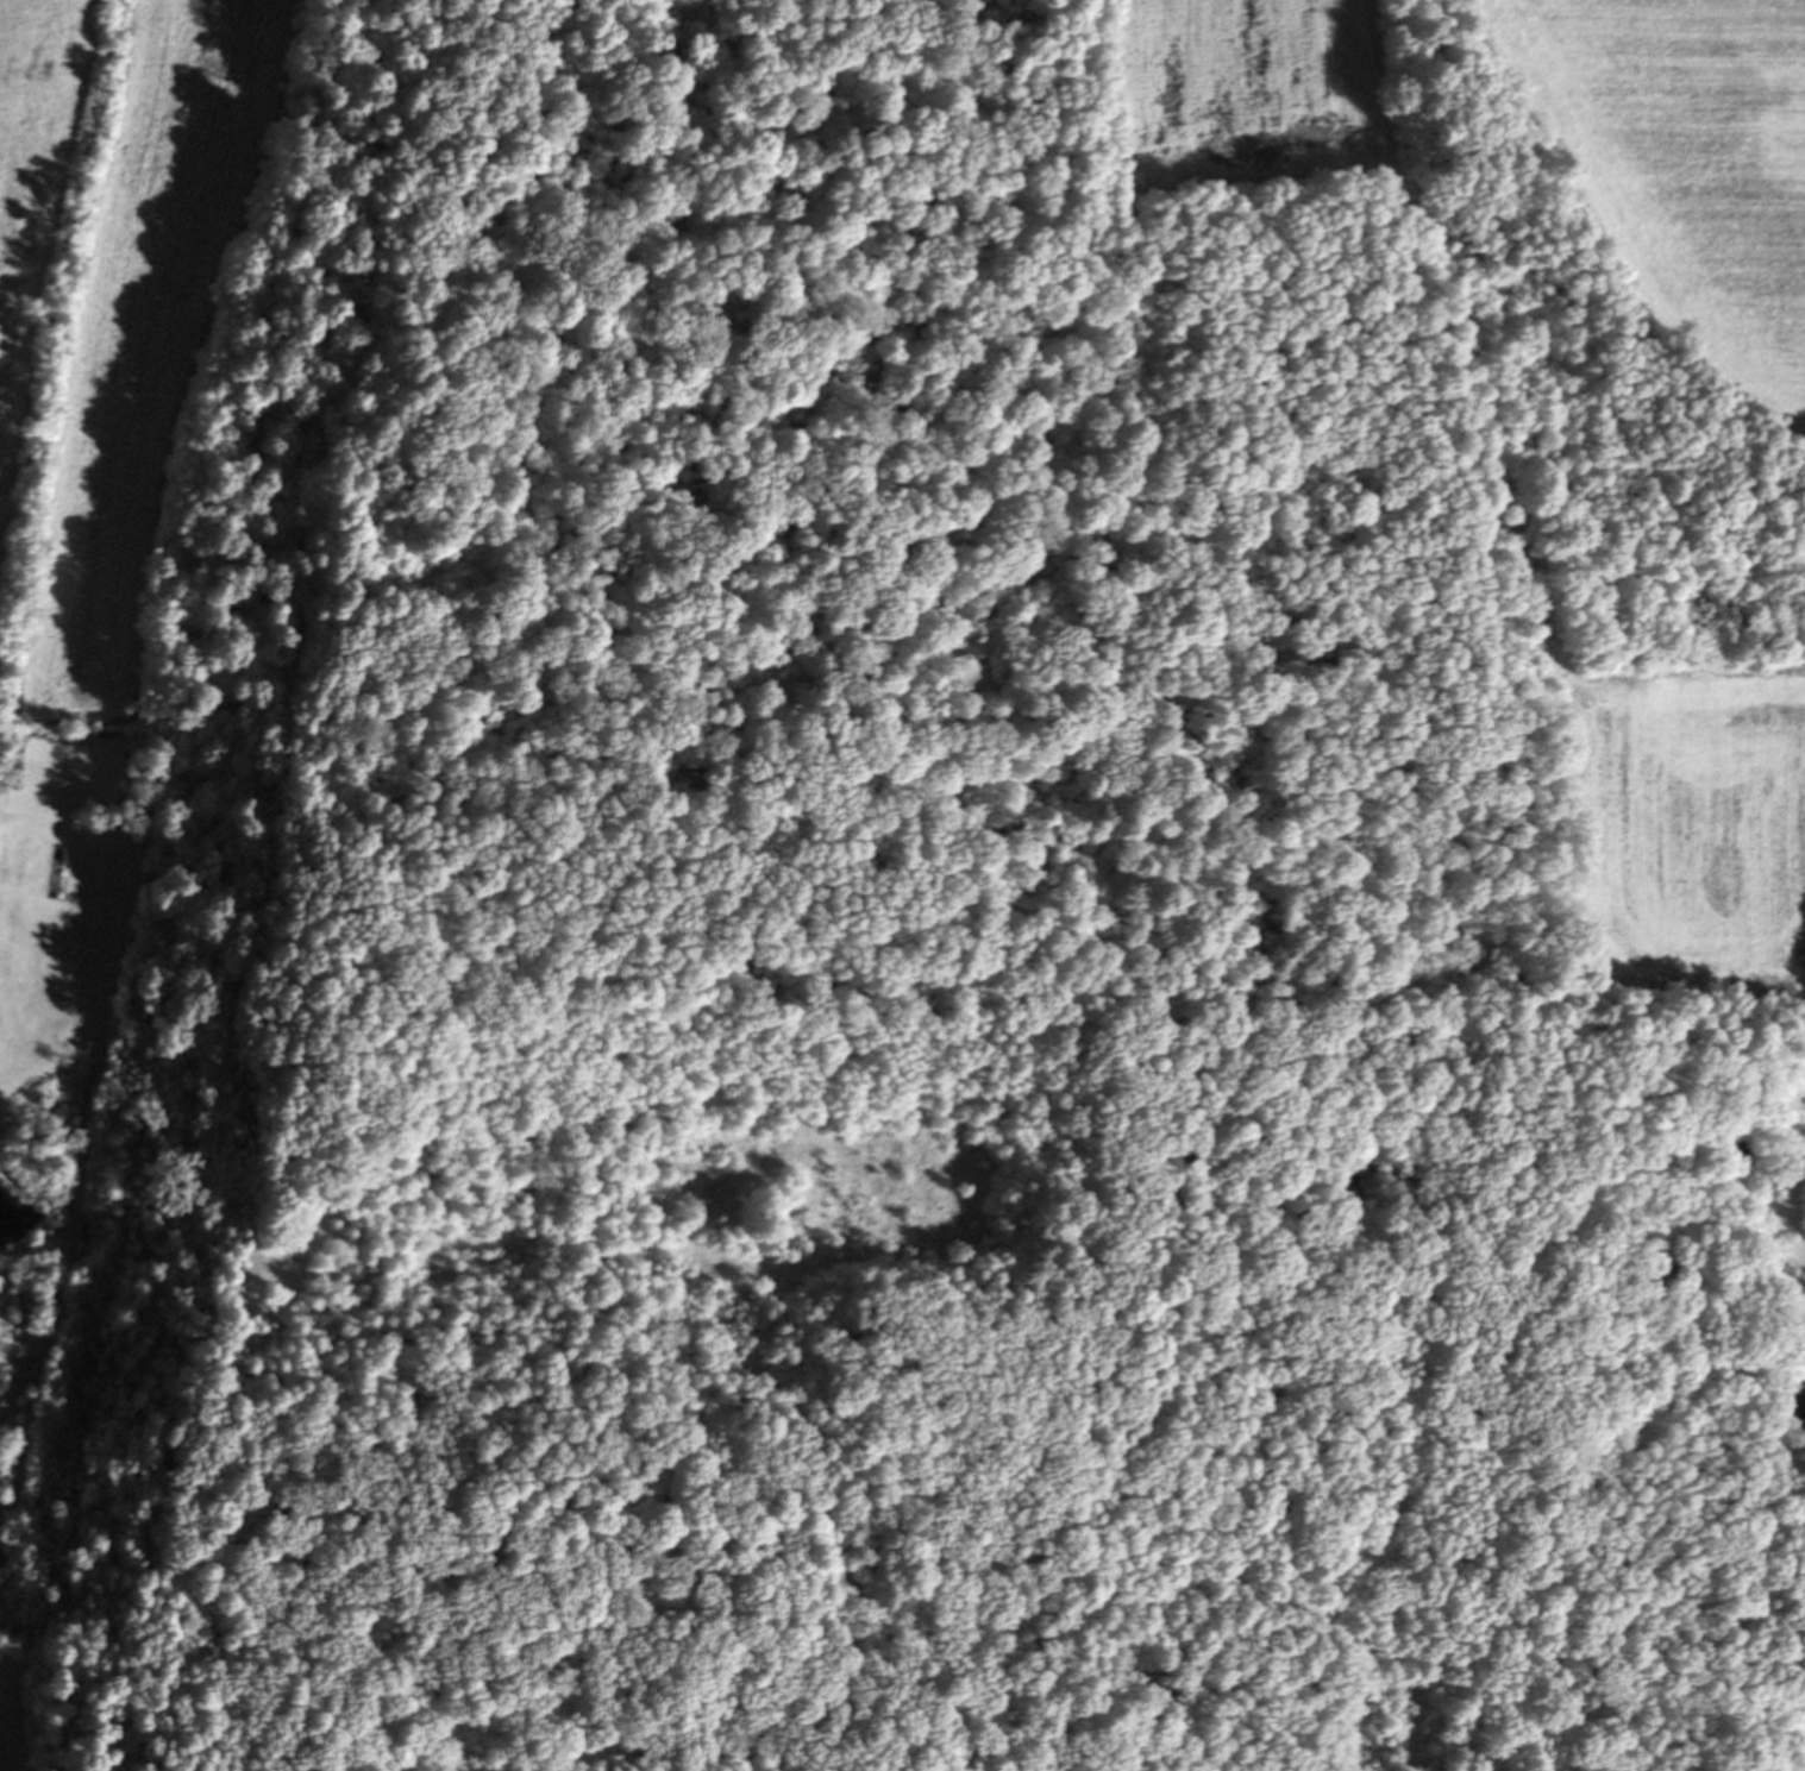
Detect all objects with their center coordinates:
building: (15, 781)

